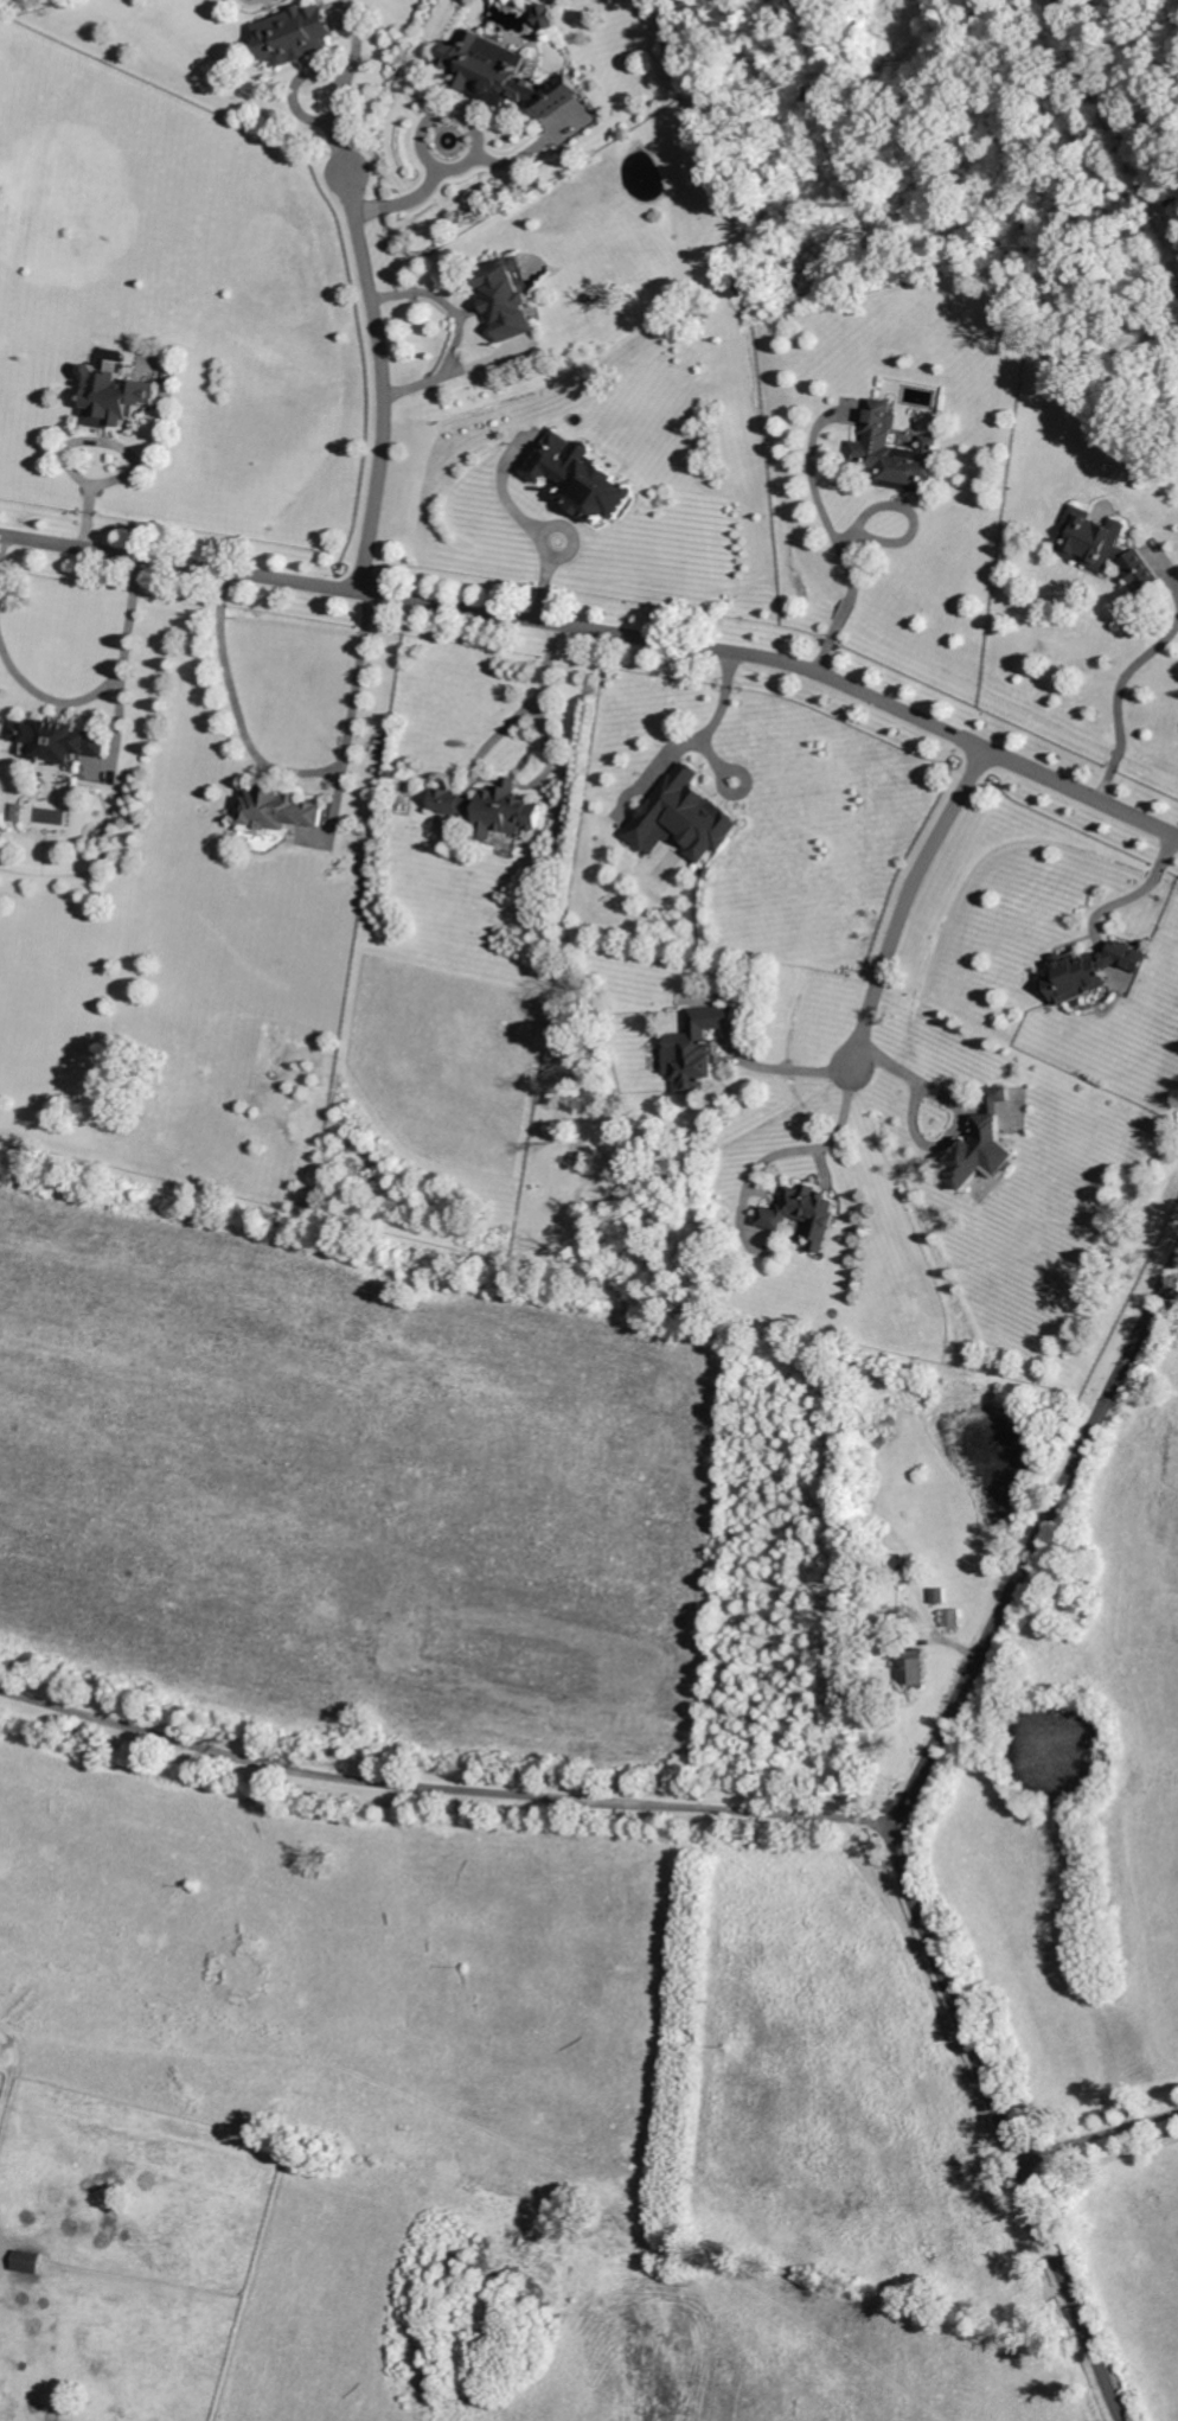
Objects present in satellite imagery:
building: (548, 15)
building: (295, 32)
building: (506, 74)
road: (345, 88)
road: (1122, 110)
road: (475, 126)
road: (534, 149)
road: (405, 203)
building: (507, 299)
road: (454, 338)
road: (384, 379)
building: (114, 397)
building: (871, 447)
building: (582, 475)
road: (498, 488)
road: (819, 506)
road: (561, 526)
road: (2, 544)
building: (1108, 547)
road: (543, 587)
road: (1176, 588)
road: (841, 608)
road: (604, 630)
road: (824, 644)
road: (105, 686)
road: (540, 697)
road: (1116, 700)
building: (78, 736)
road: (703, 737)
building: (41, 743)
road: (293, 771)
building: (493, 801)
building: (280, 806)
road: (1139, 892)
road: (902, 899)
building: (1086, 971)
building: (704, 1039)
road: (790, 1068)
road: (962, 1104)
road: (822, 1145)
building: (982, 1148)
building: (802, 1212)
road: (1126, 1368)
building: (895, 1565)
building: (936, 1596)
building: (950, 1617)
building: (913, 1668)
road: (444, 1790)
road: (933, 1942)
road: (1097, 2131)
building: (27, 2262)

